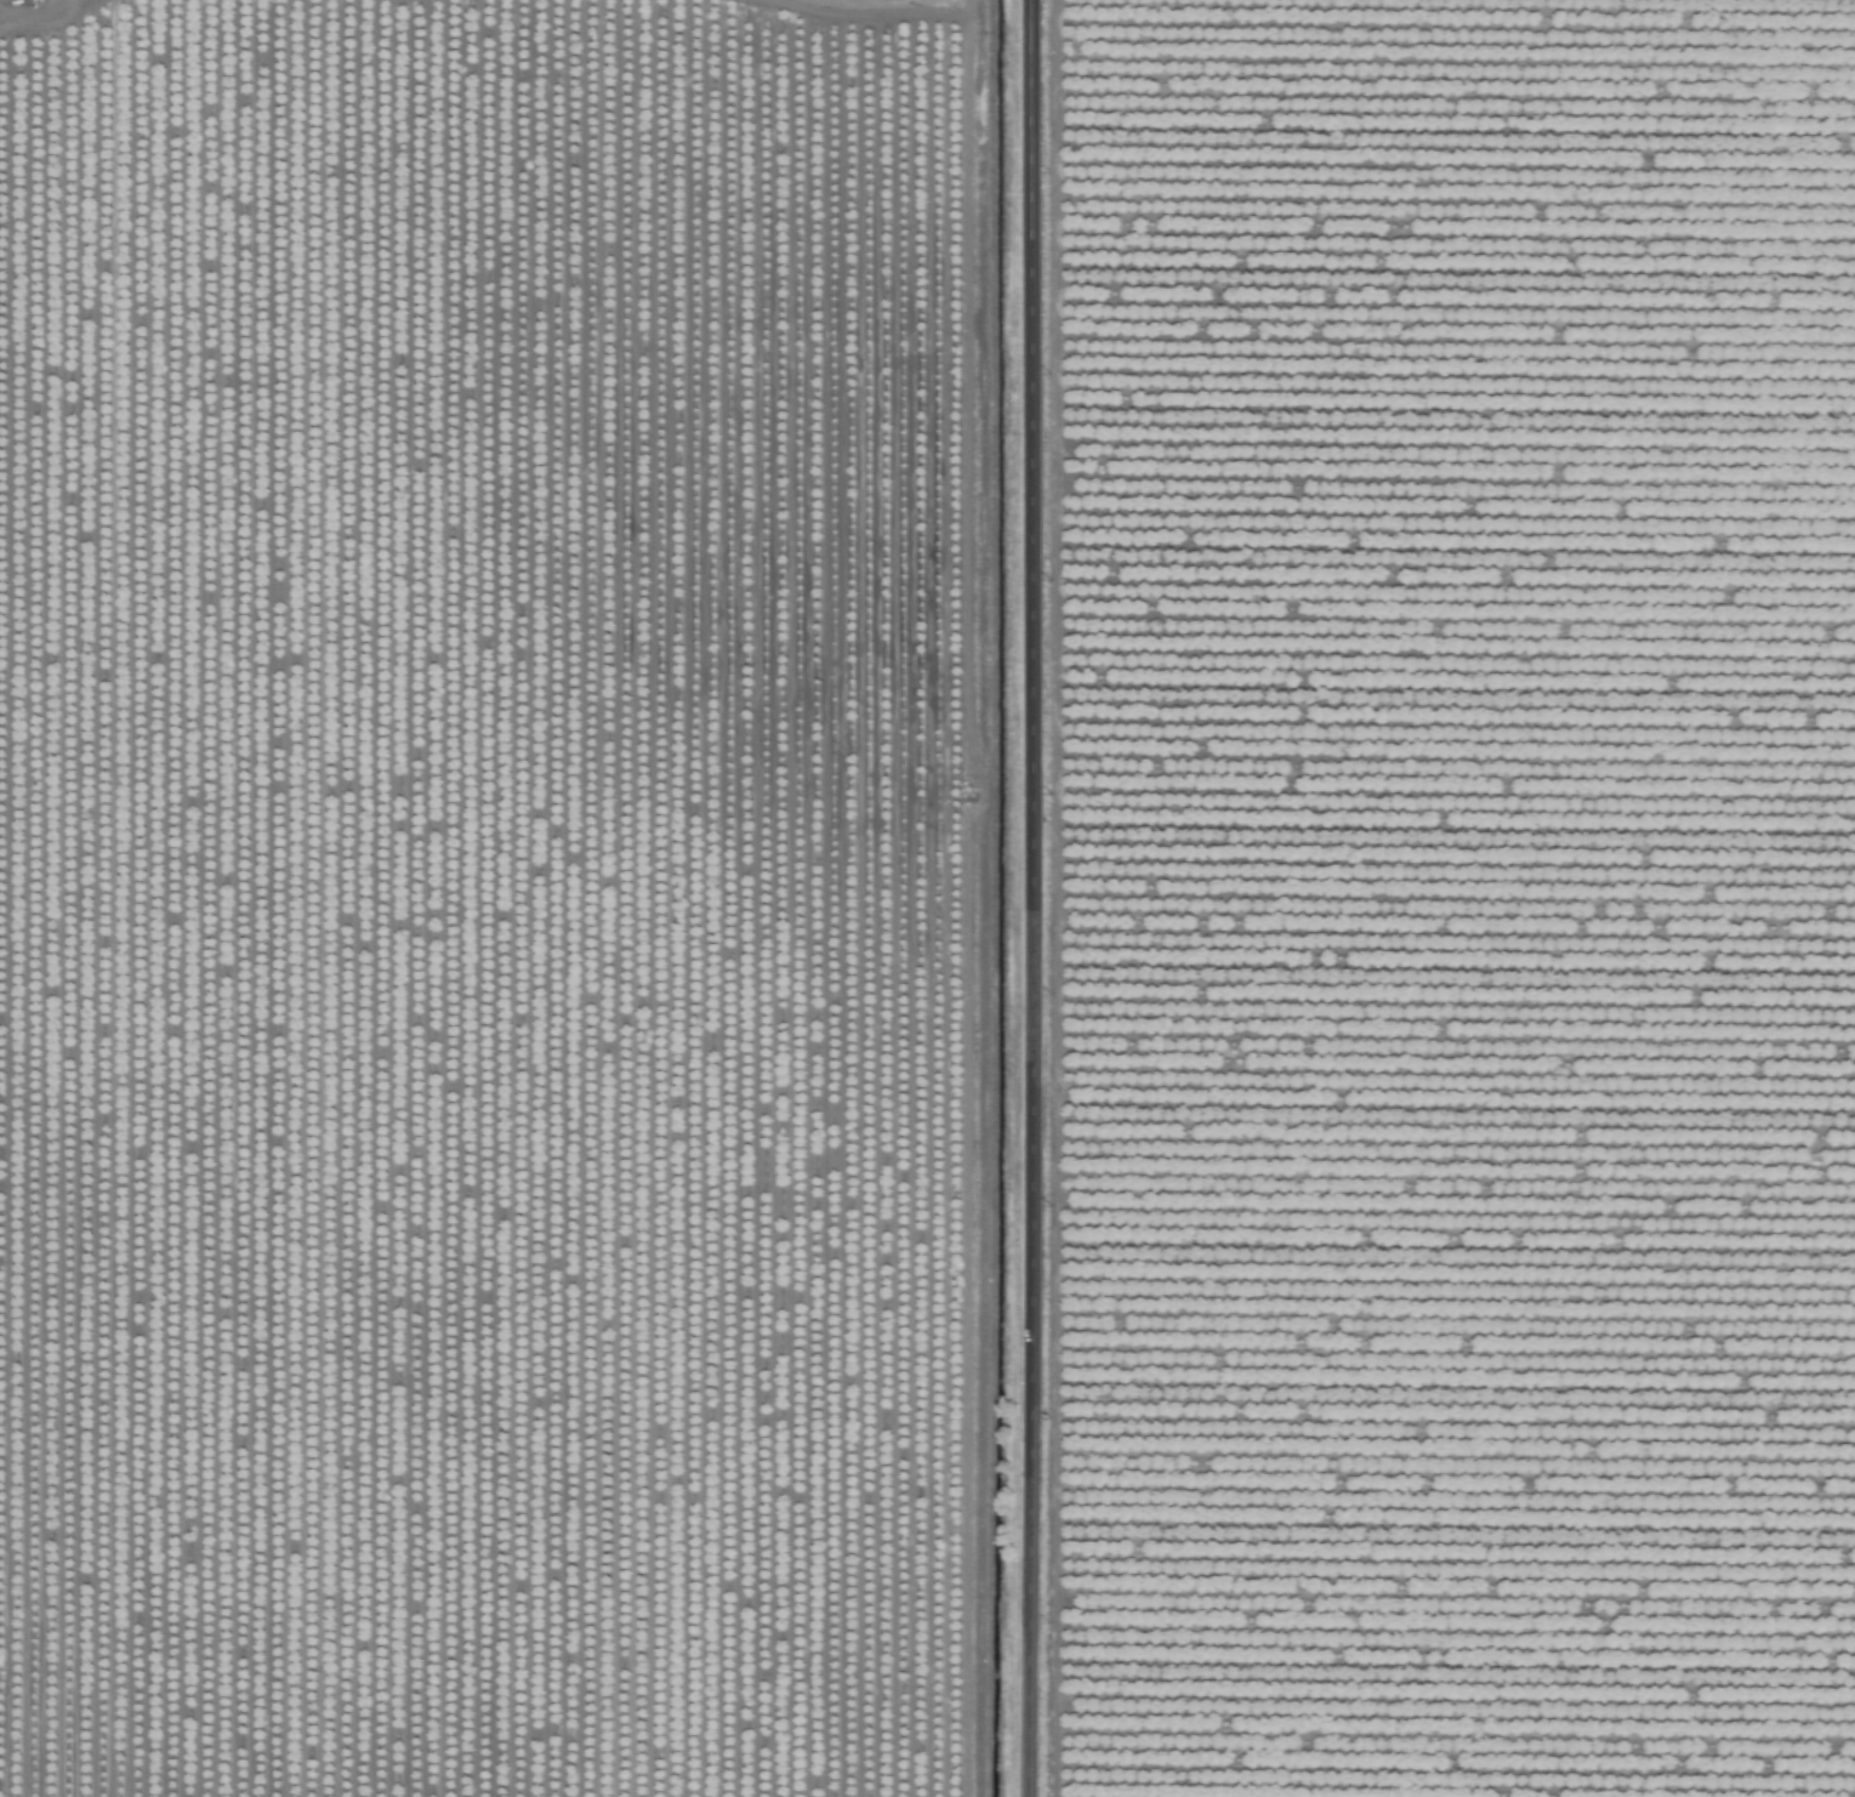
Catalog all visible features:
road: (1030, 898)

